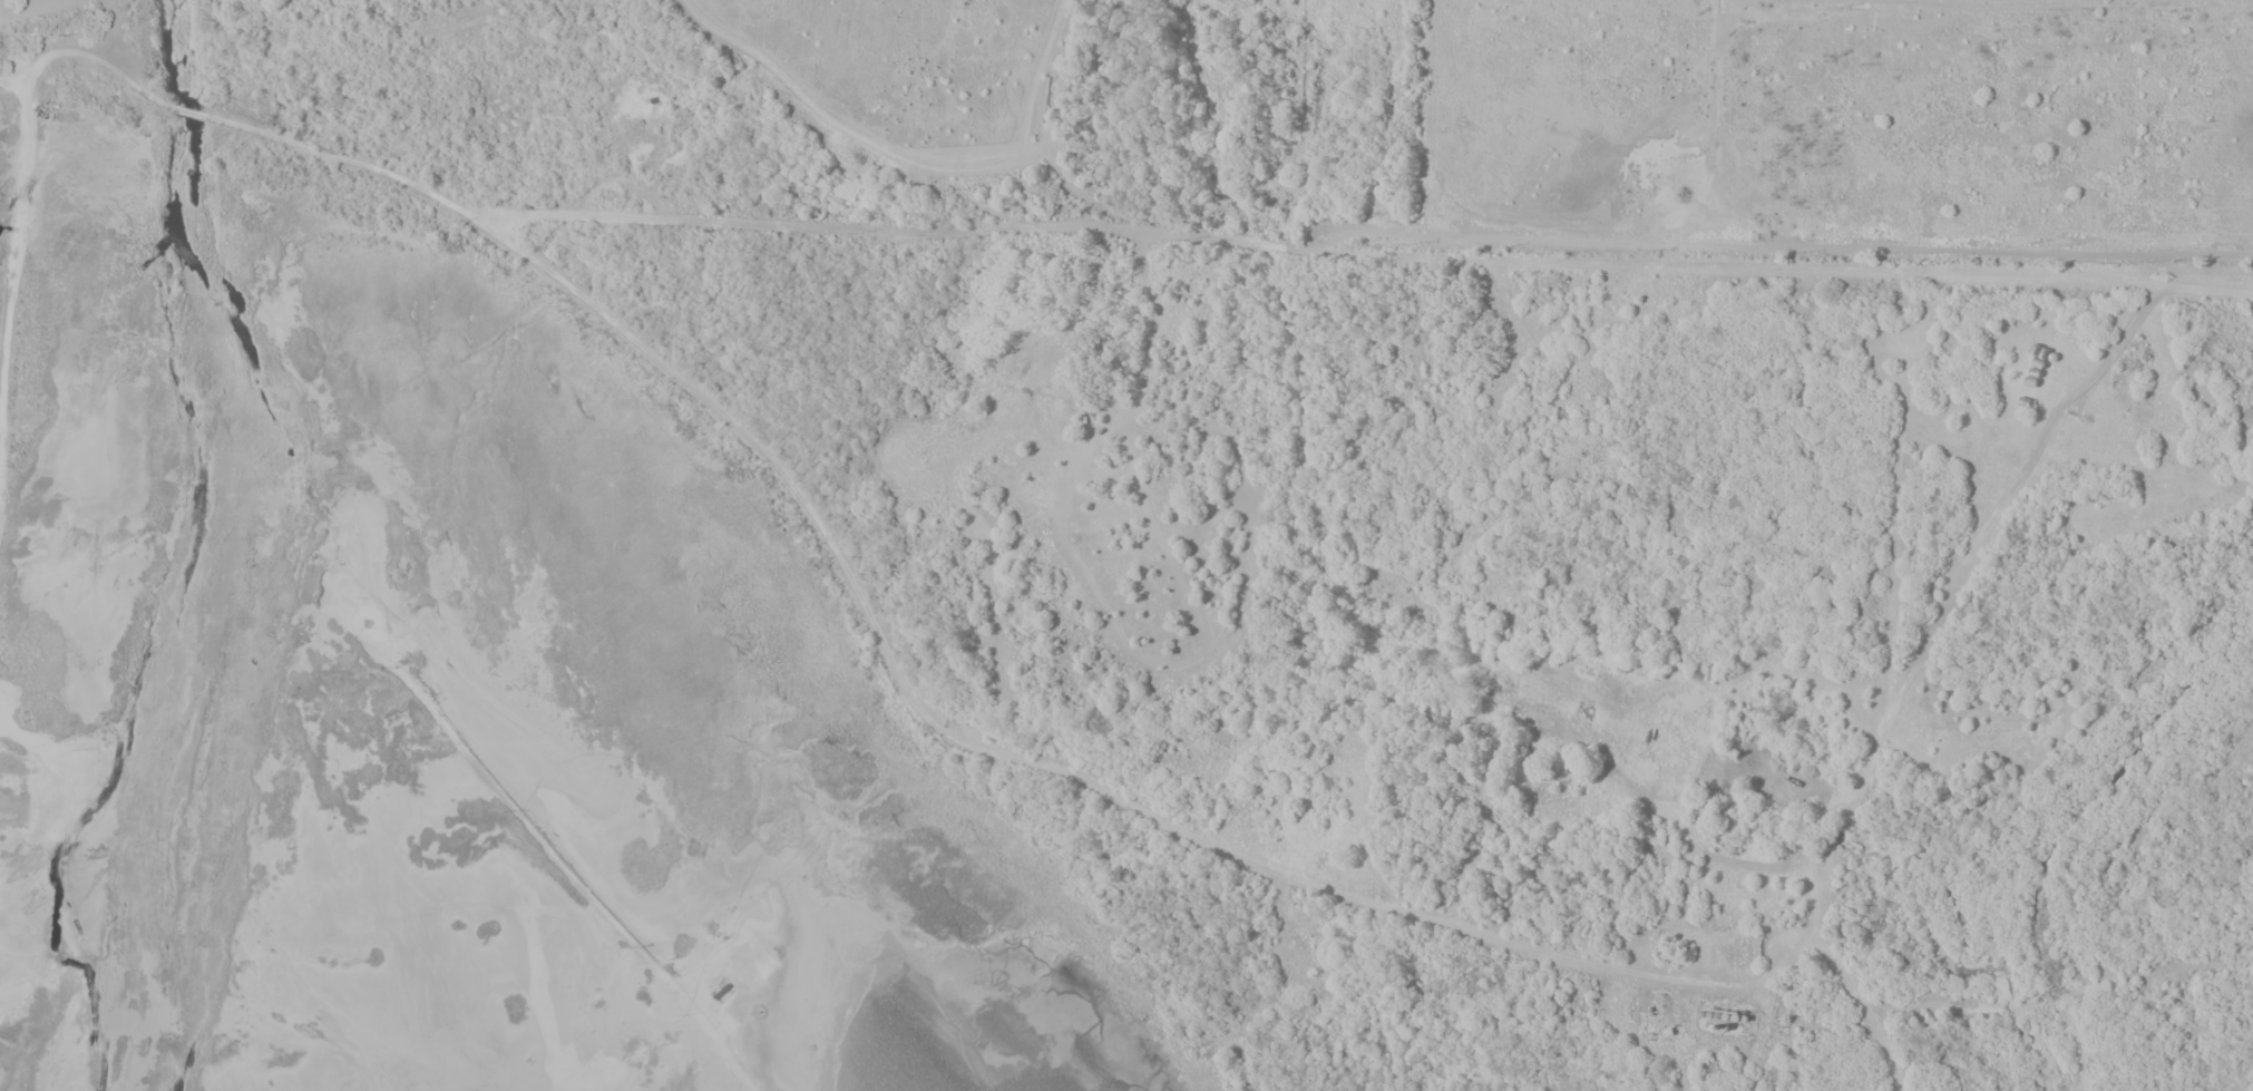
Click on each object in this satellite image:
road: (2159, 1)
road: (1723, 9)
road: (1723, 21)
road: (13, 86)
road: (191, 113)
road: (26, 169)
road: (1754, 266)
road: (1893, 485)
road: (2013, 489)
road: (1020, 759)
road: (575, 880)
road: (1865, 1006)

